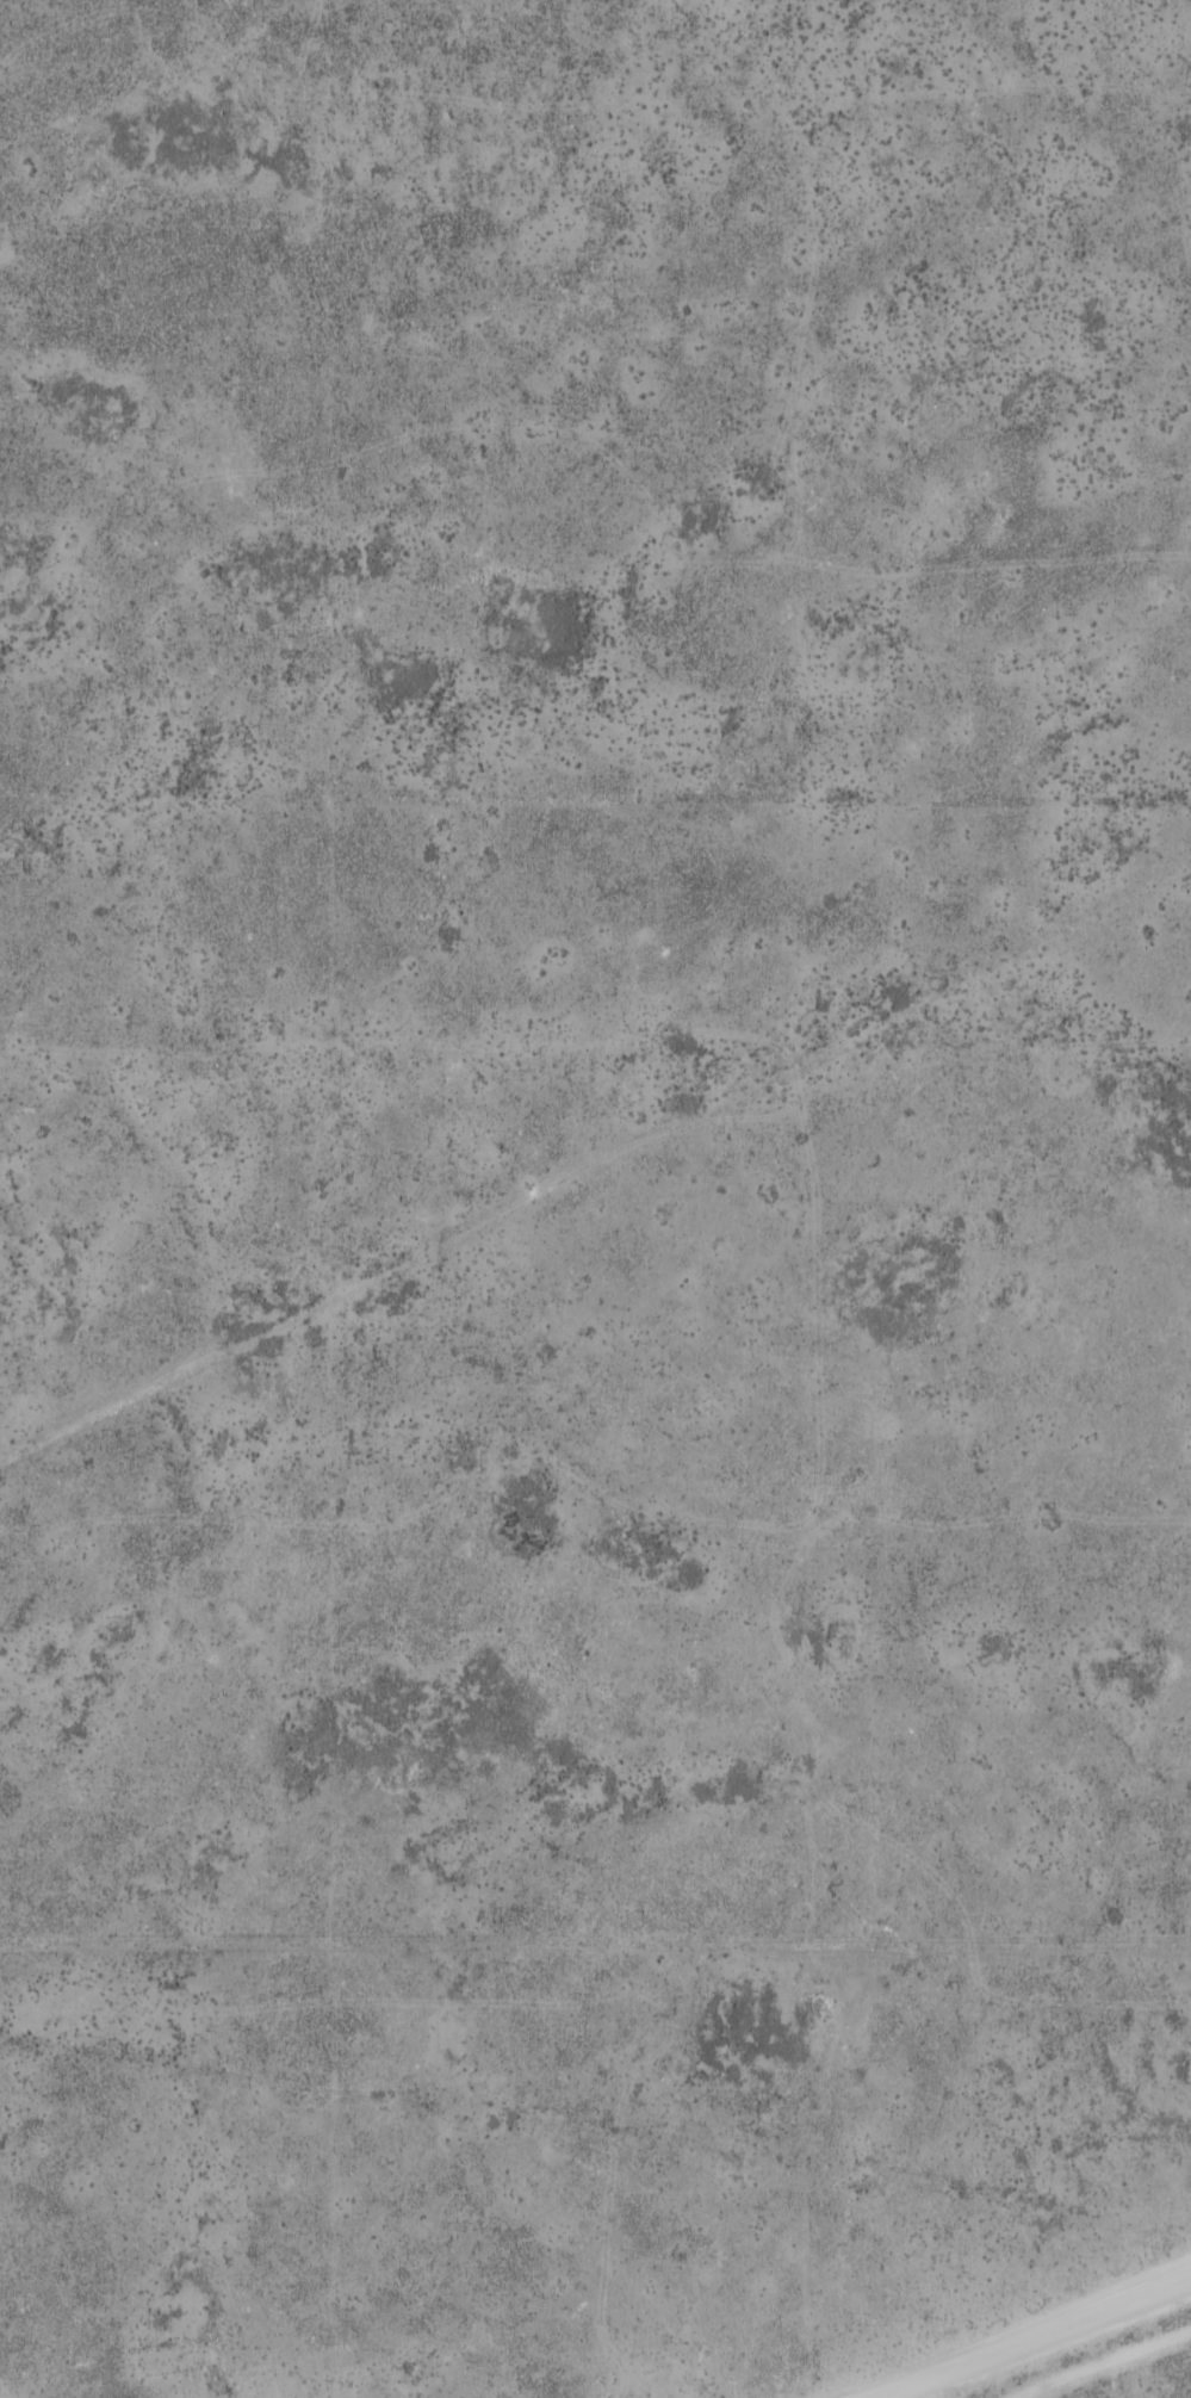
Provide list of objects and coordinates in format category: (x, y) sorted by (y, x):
road: (1016, 2332)

